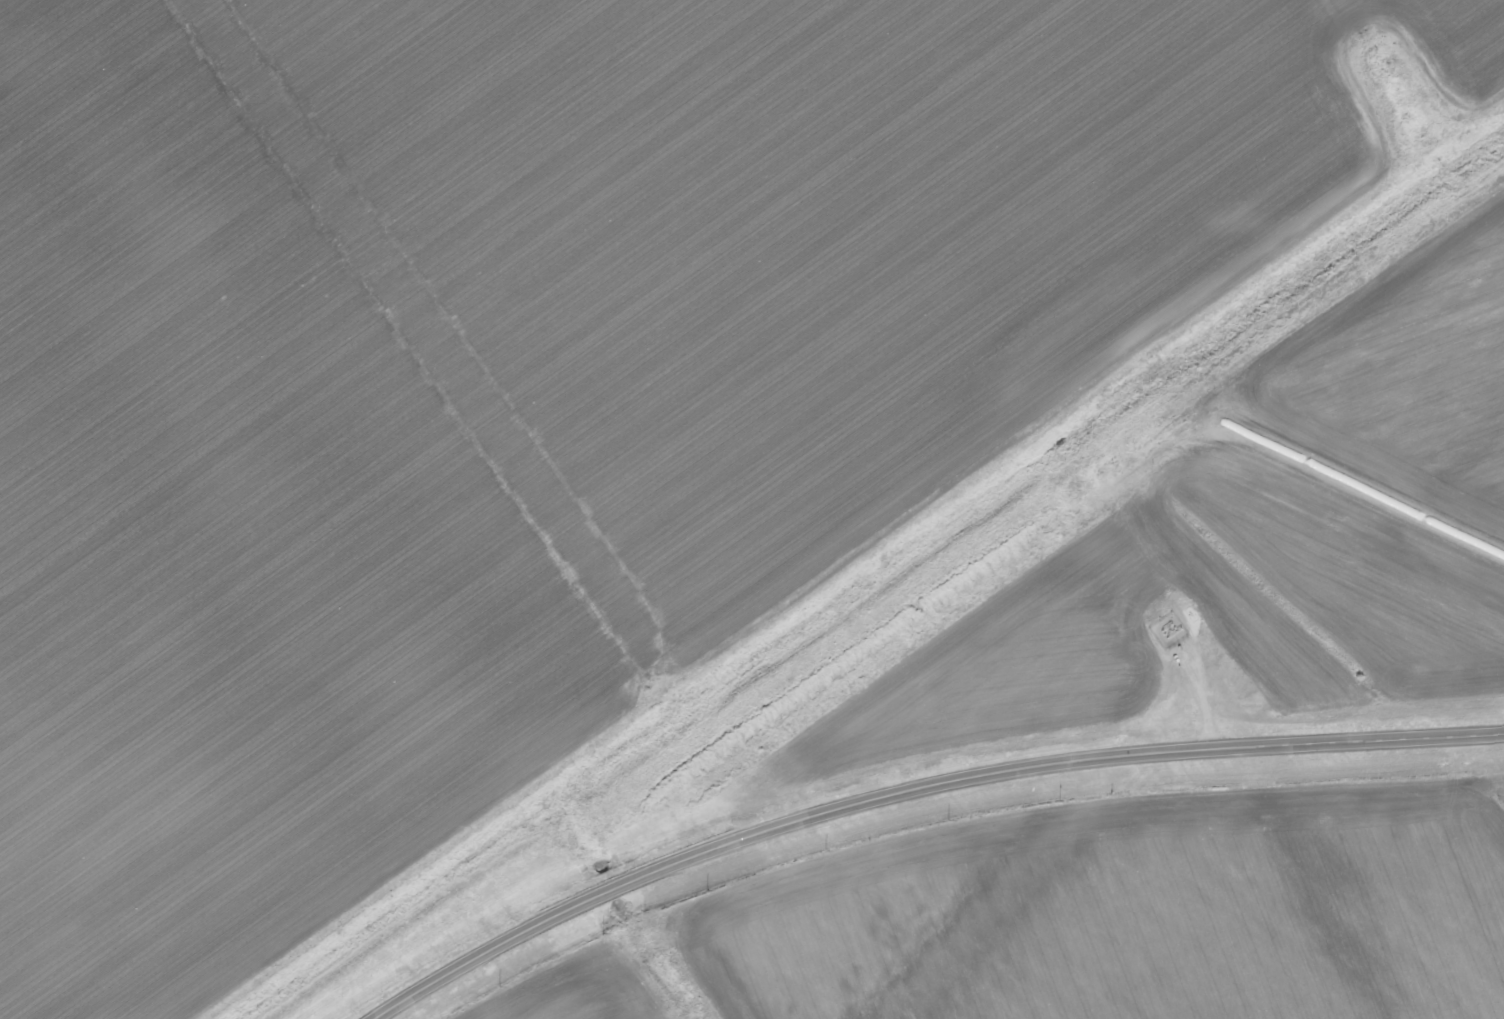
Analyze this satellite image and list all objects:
road: (1380, 486)
road: (916, 789)

